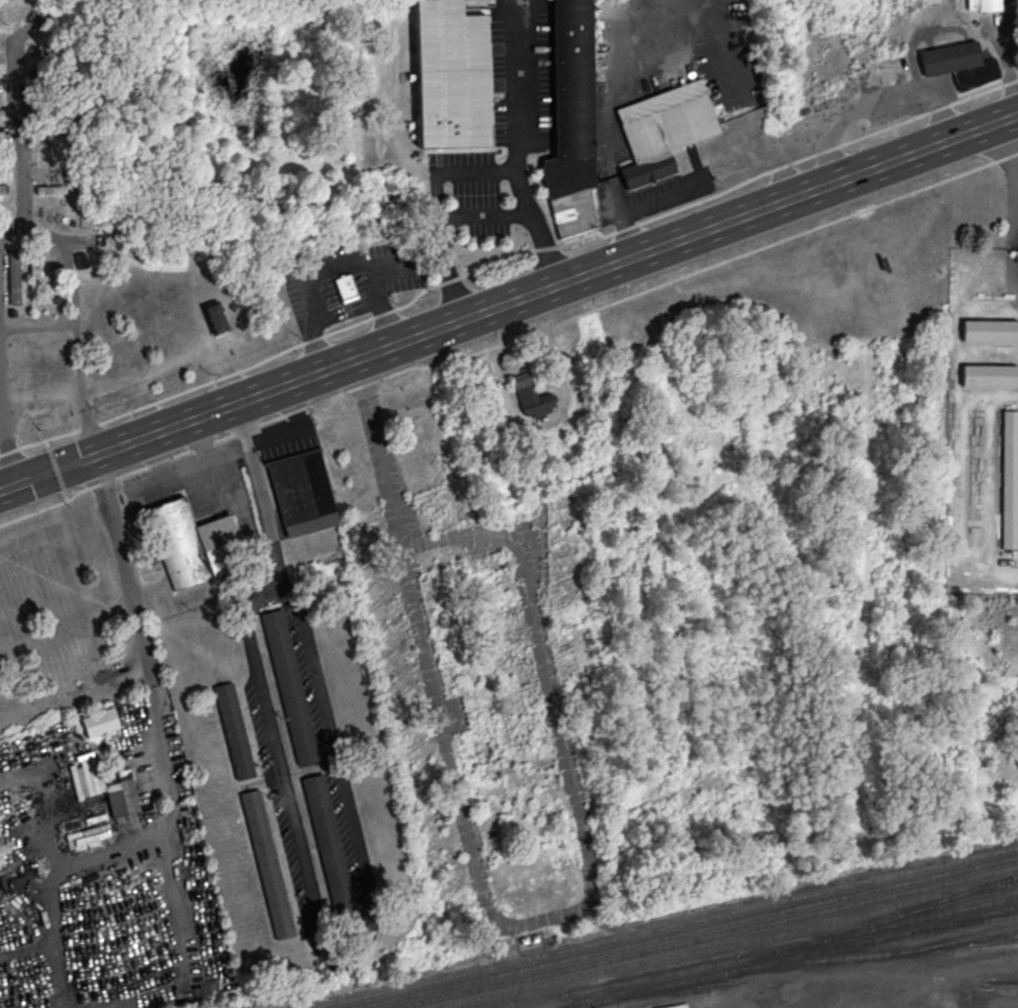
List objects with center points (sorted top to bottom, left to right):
building: (984, 5)
road: (1012, 55)
building: (2, 57)
building: (959, 63)
building: (451, 74)
road: (1015, 109)
building: (4, 111)
building: (571, 119)
building: (3, 128)
building: (663, 128)
road: (1005, 143)
road: (514, 147)
building: (4, 188)
building: (56, 189)
road: (484, 219)
road: (630, 225)
road: (38, 226)
road: (21, 230)
road: (685, 240)
building: (83, 258)
road: (396, 258)
building: (35, 272)
building: (15, 276)
road: (450, 277)
building: (346, 286)
road: (151, 297)
road: (383, 304)
building: (215, 317)
road: (39, 324)
building: (990, 329)
building: (990, 374)
road: (295, 384)
building: (532, 395)
road: (545, 420)
road: (4, 427)
road: (166, 432)
road: (388, 453)
road: (49, 474)
building: (1010, 478)
building: (303, 492)
building: (194, 541)
road: (139, 613)
building: (290, 686)
building: (100, 721)
building: (234, 731)
building: (110, 785)
building: (329, 843)
building: (267, 863)
road: (361, 879)
railway: (929, 915)
railway: (978, 918)
road: (506, 920)
railway: (664, 927)
railway: (685, 932)
railway: (707, 938)
railway: (1008, 939)
railway: (968, 942)
railway: (725, 944)
railway: (893, 950)
building: (330, 954)
railway: (753, 954)
railway: (792, 956)
railway: (831, 976)
railway: (579, 1006)

